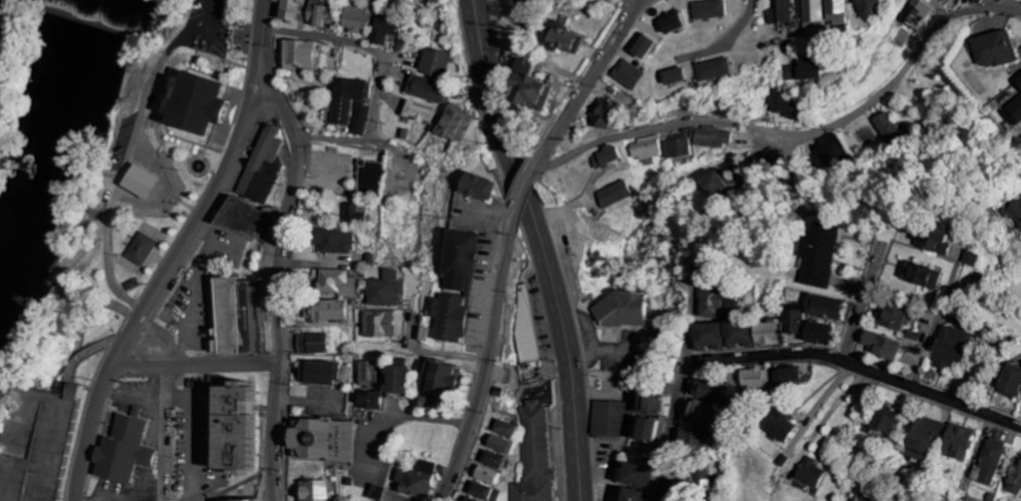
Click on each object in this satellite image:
building: (940, 0)
building: (394, 1)
building: (515, 1)
building: (975, 2)
building: (869, 8)
road: (636, 11)
building: (707, 11)
building: (836, 11)
building: (812, 12)
building: (308, 13)
building: (785, 13)
building: (915, 15)
building: (360, 19)
road: (265, 24)
building: (669, 25)
parking lot: (203, 28)
building: (386, 30)
building: (562, 41)
road: (365, 47)
building: (641, 49)
building: (994, 51)
building: (302, 55)
building: (435, 63)
building: (714, 70)
building: (803, 72)
building: (628, 76)
building: (673, 78)
building: (1018, 83)
building: (528, 89)
building: (427, 90)
building: (347, 98)
building: (785, 105)
building: (200, 109)
building: (1015, 113)
building: (420, 114)
building: (604, 115)
building: (359, 120)
building: (454, 124)
building: (886, 127)
road: (794, 134)
road: (327, 136)
road: (302, 137)
building: (710, 138)
road: (356, 139)
building: (678, 148)
building: (646, 151)
building: (608, 157)
fountain: (198, 164)
river: (51, 167)
building: (261, 171)
road: (221, 175)
building: (370, 175)
building: (138, 181)
building: (718, 183)
building: (158, 185)
building: (476, 185)
road: (730, 191)
building: (614, 194)
road: (816, 213)
building: (1016, 213)
building: (356, 215)
building: (248, 224)
road: (511, 238)
building: (935, 239)
building: (331, 246)
road: (543, 247)
building: (141, 249)
road: (165, 252)
building: (820, 255)
building: (971, 258)
road: (278, 272)
building: (921, 275)
building: (455, 286)
building: (335, 291)
road: (838, 297)
building: (381, 302)
building: (719, 303)
building: (823, 307)
building: (621, 311)
building: (891, 317)
building: (326, 320)
building: (795, 320)
building: (243, 323)
building: (818, 333)
building: (423, 334)
building: (378, 335)
building: (738, 335)
building: (523, 338)
building: (880, 344)
building: (950, 346)
building: (312, 347)
road: (224, 368)
road: (859, 368)
road: (141, 369)
building: (787, 376)
building: (438, 378)
building: (368, 379)
building: (756, 379)
building: (320, 380)
building: (397, 380)
building: (1010, 381)
building: (709, 390)
road: (100, 391)
building: (428, 403)
building: (368, 408)
building: (705, 413)
building: (648, 417)
building: (611, 419)
building: (887, 420)
road: (671, 427)
building: (780, 427)
building: (504, 429)
road: (168, 435)
building: (923, 437)
building: (695, 439)
building: (957, 442)
building: (321, 443)
building: (235, 444)
building: (124, 449)
building: (38, 450)
parking lot: (38, 450)
building: (536, 457)
building: (492, 459)
road: (983, 459)
building: (989, 461)
building: (811, 474)
building: (488, 475)
building: (636, 475)
building: (1014, 478)
building: (416, 479)
building: (702, 482)
building: (485, 492)
building: (605, 492)
building: (315, 493)
building: (376, 493)
building: (634, 495)
building: (470, 498)
building: (241, 500)

